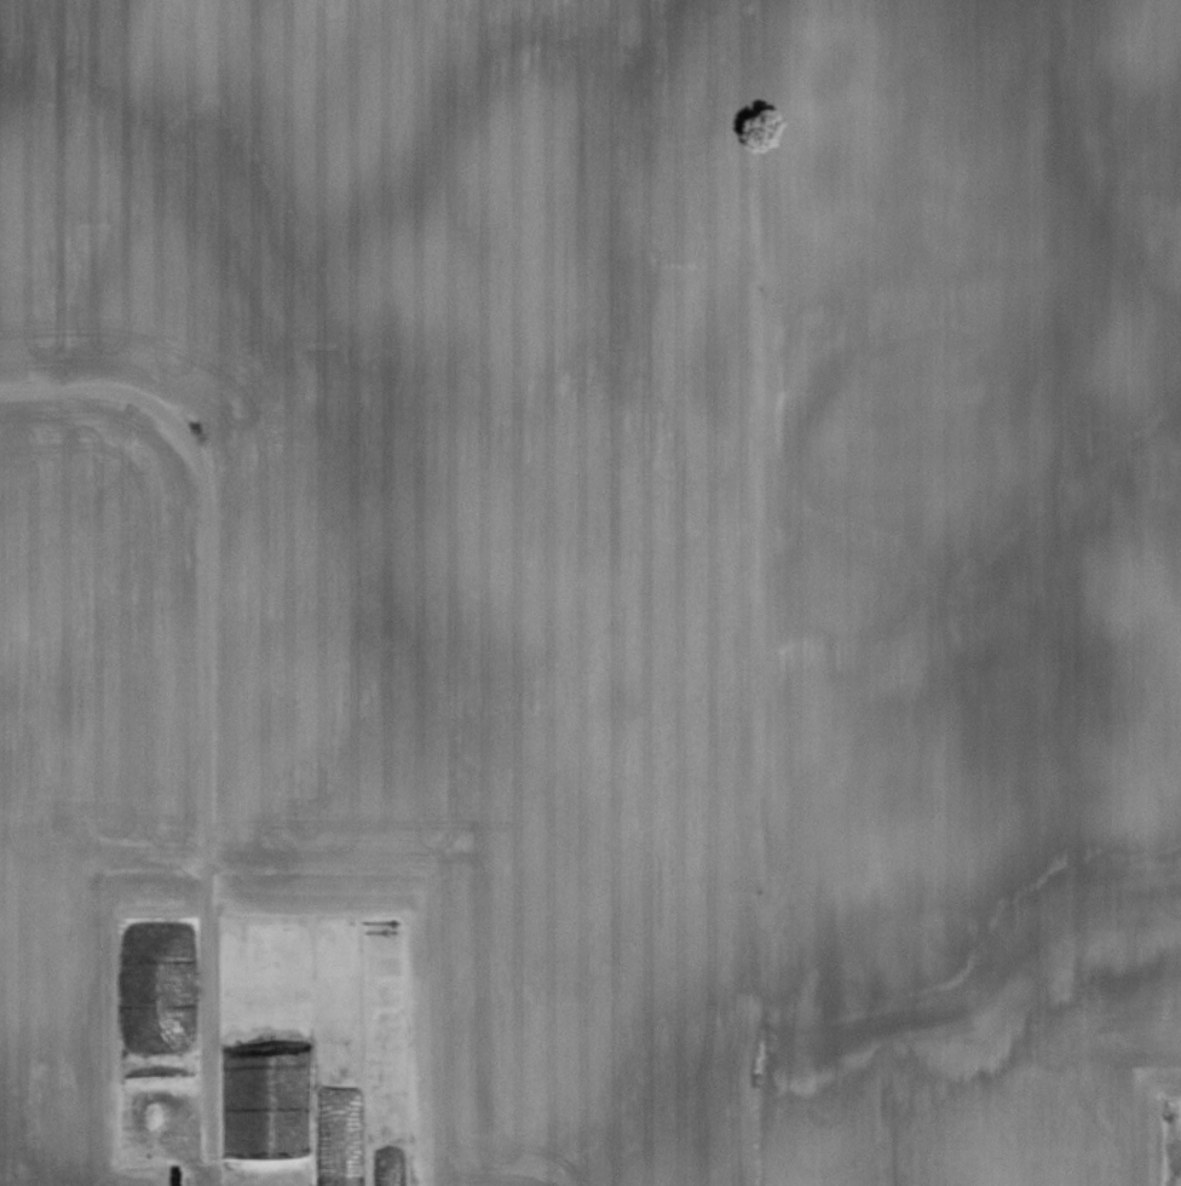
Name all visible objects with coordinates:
road: (206, 707)

